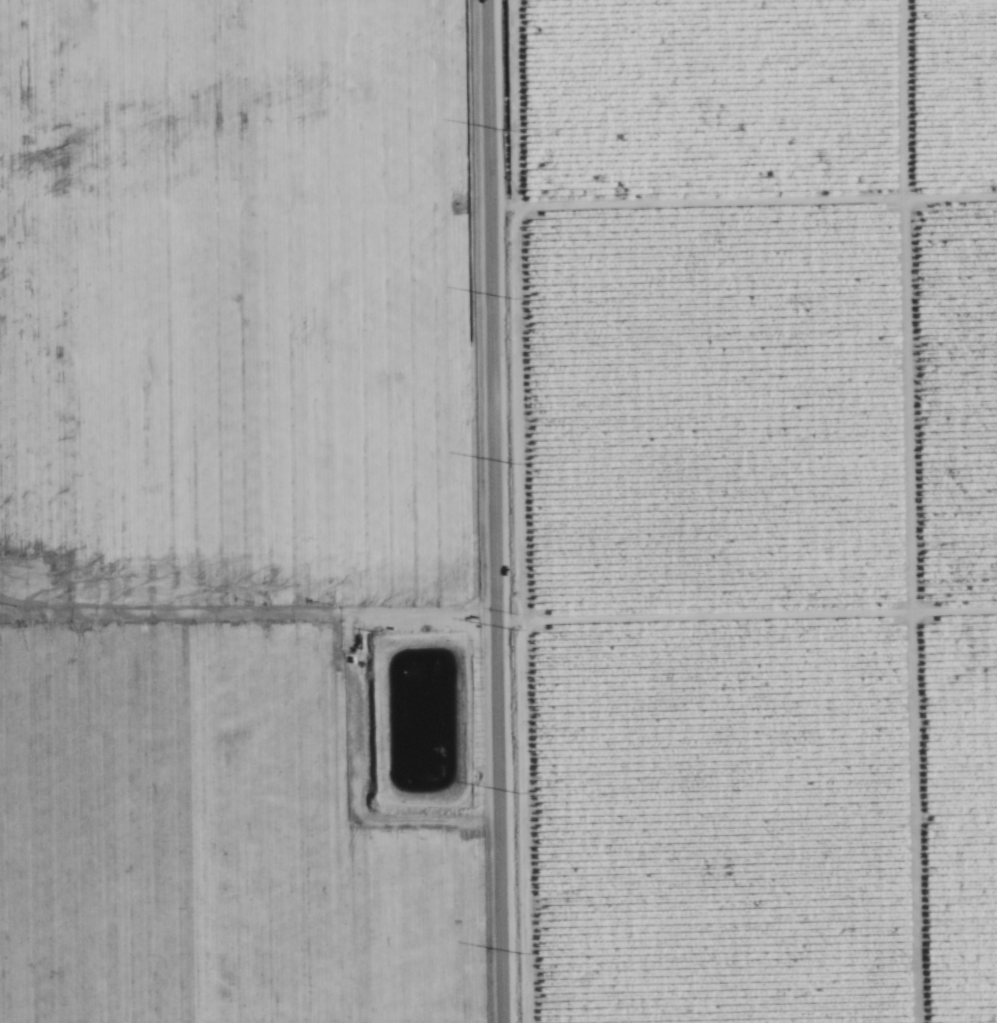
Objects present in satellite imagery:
crop: (238, 315)
road: (493, 511)
road: (746, 617)
crop: (232, 831)

